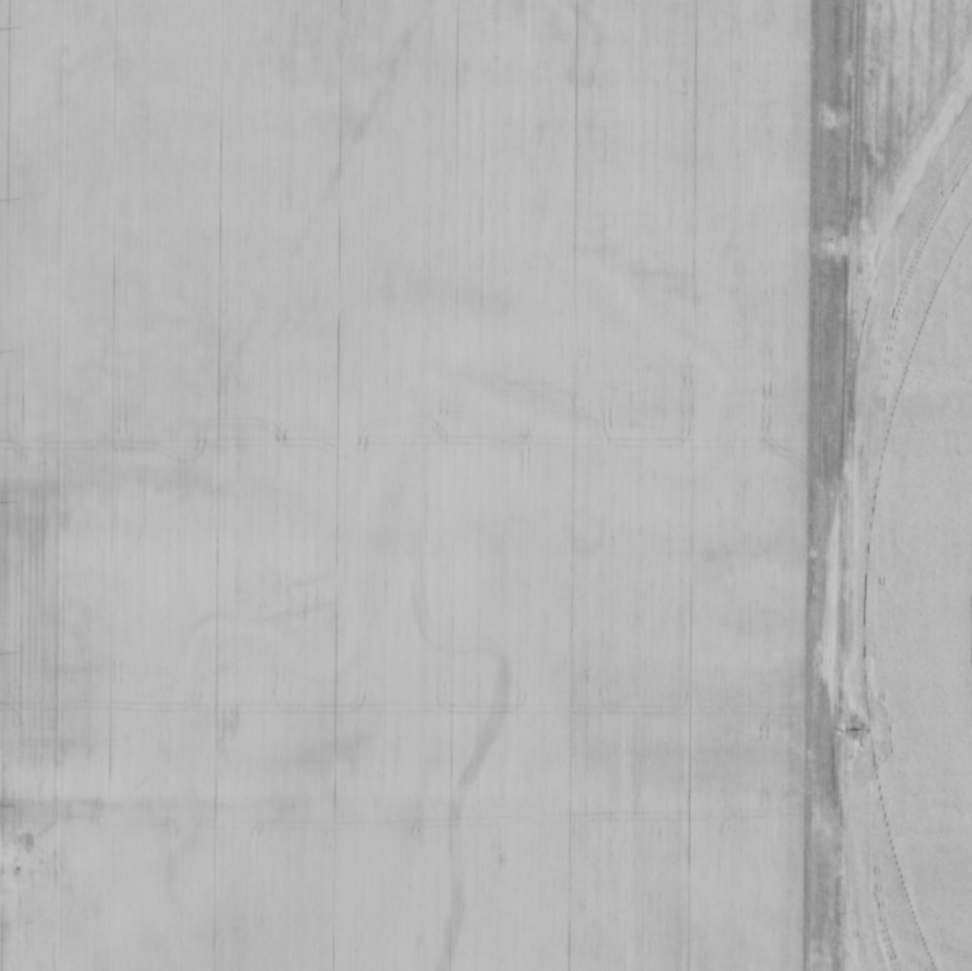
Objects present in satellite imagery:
crop: (404, 484)

